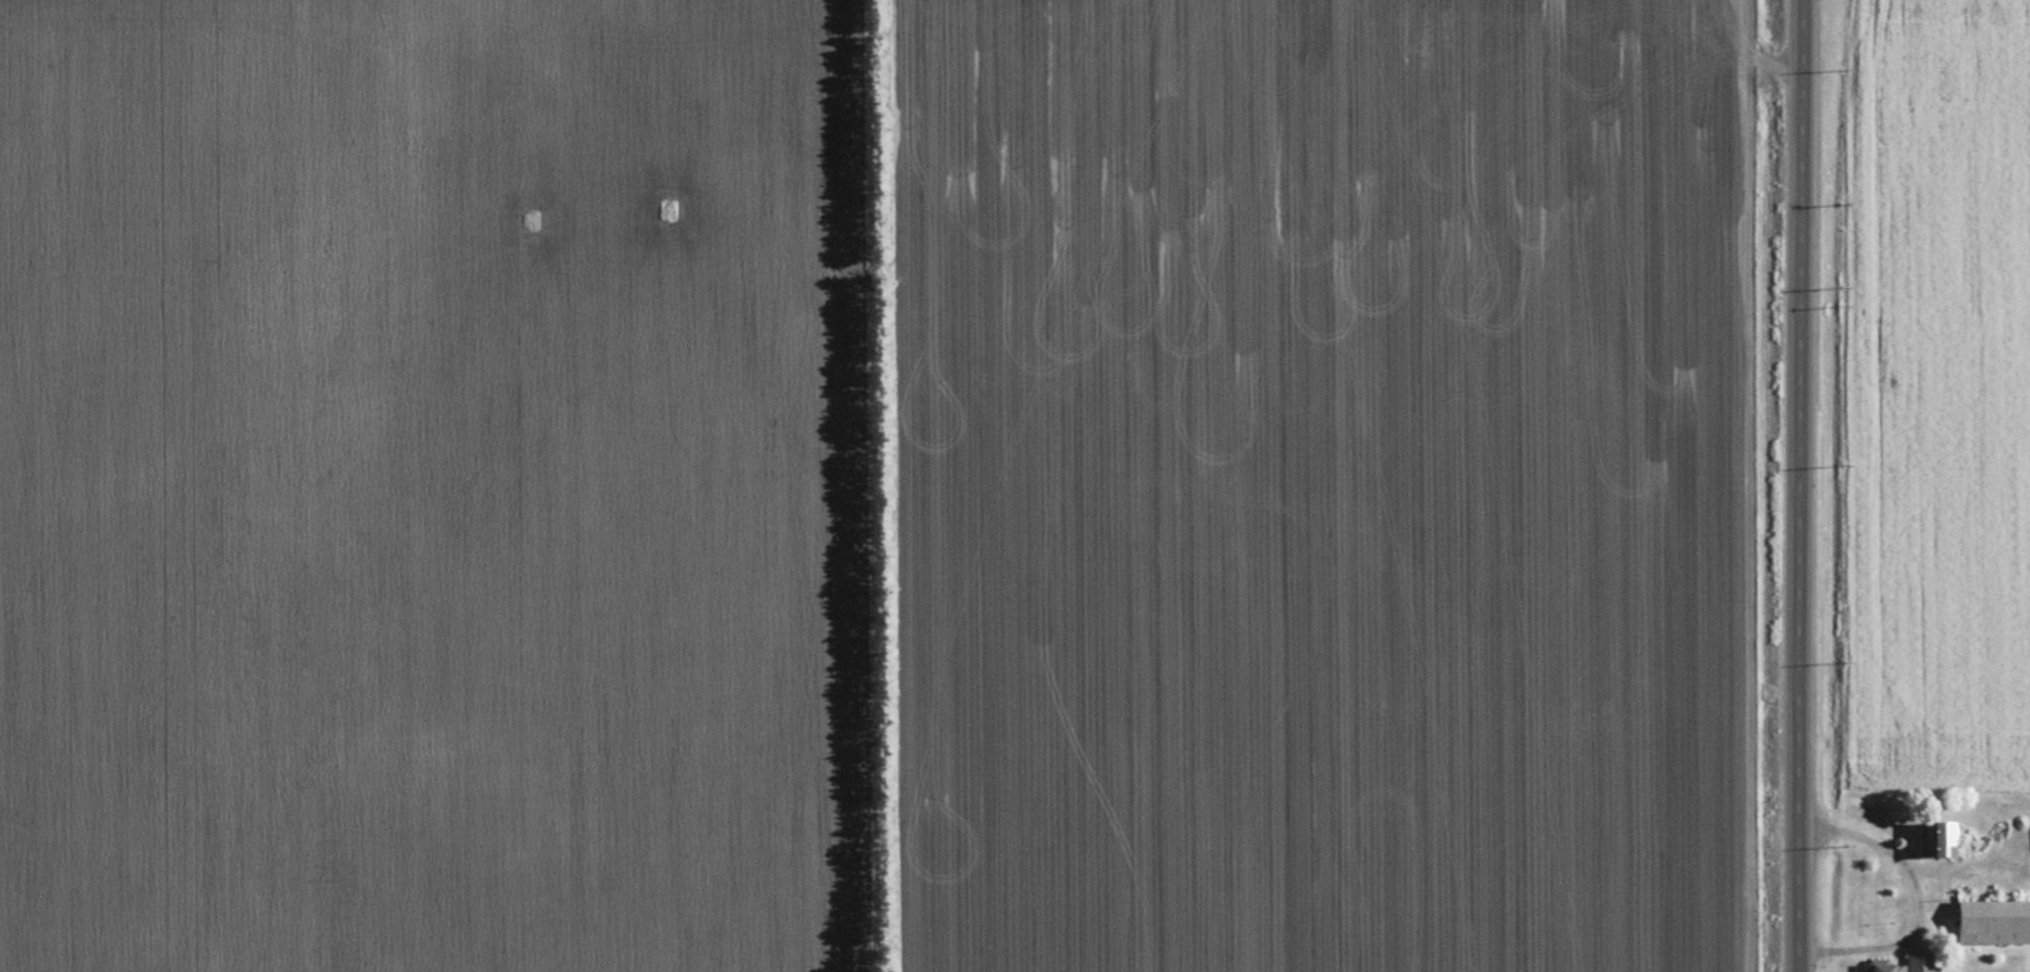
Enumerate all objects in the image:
road: (1793, 485)
building: (1937, 838)
road: (1913, 896)
building: (1995, 922)
building: (1908, 963)

